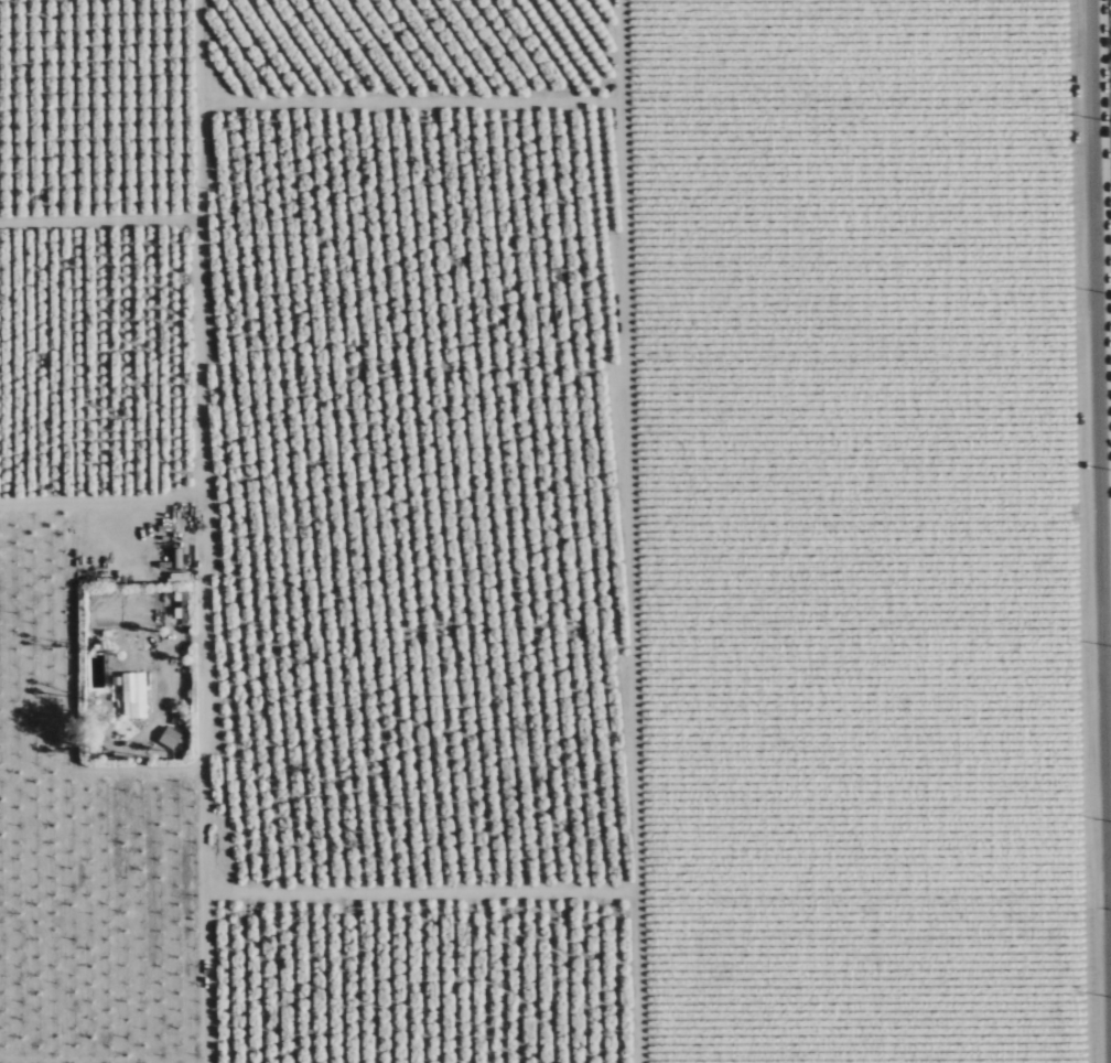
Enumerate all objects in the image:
road: (1091, 531)
building: (133, 696)
building: (169, 738)
road: (204, 849)

